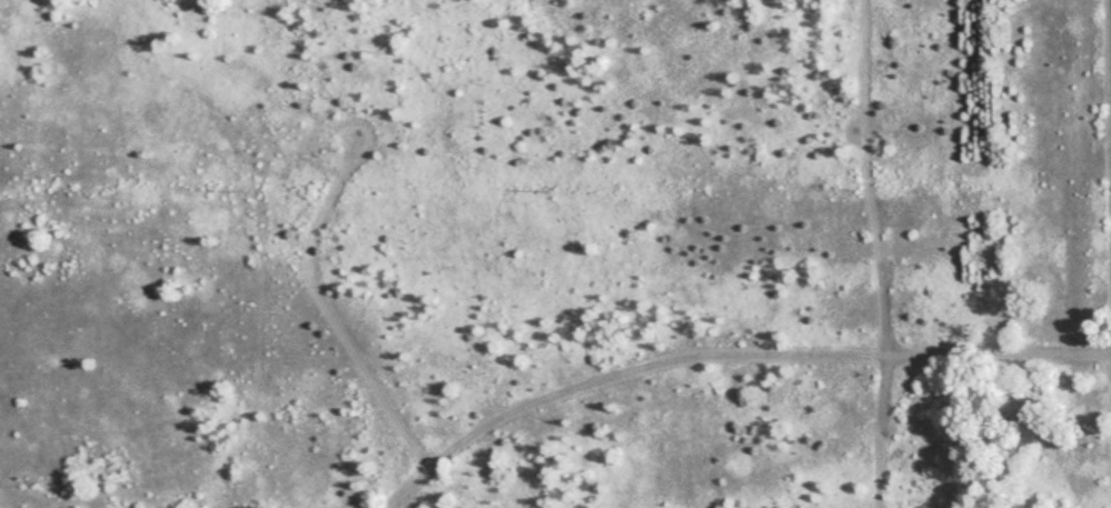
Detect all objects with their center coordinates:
road: (924, 360)
road: (6, 500)

